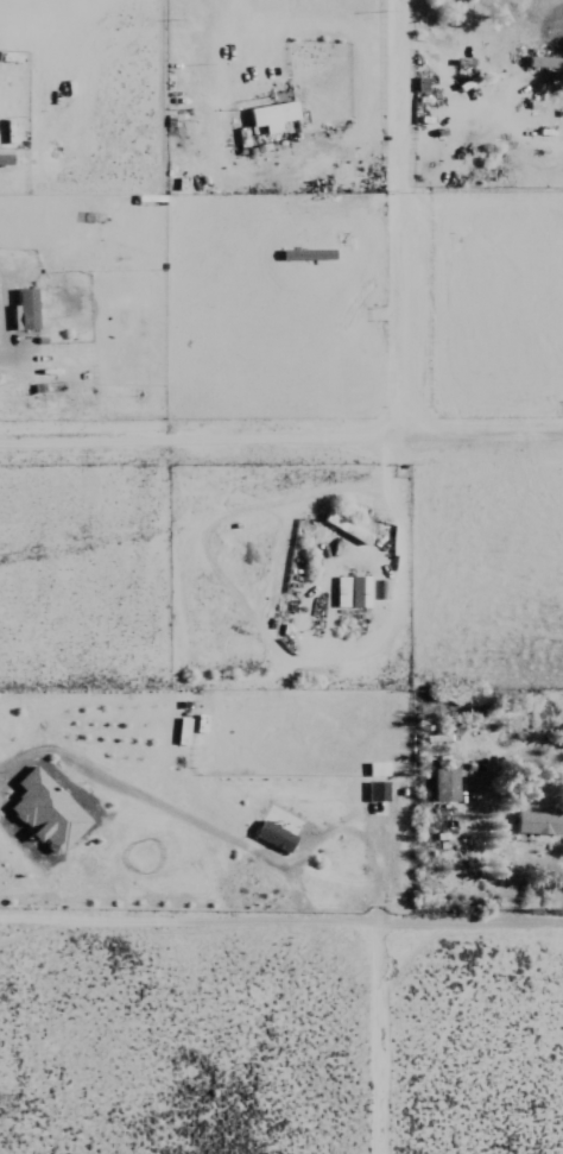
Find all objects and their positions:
road: (254, 36)
road: (449, 93)
road: (506, 128)
road: (399, 219)
road: (481, 251)
road: (280, 439)
road: (271, 644)
building: (374, 770)
building: (442, 786)
building: (374, 792)
building: (43, 813)
building: (271, 838)
road: (228, 839)
road: (198, 920)
road: (480, 923)

